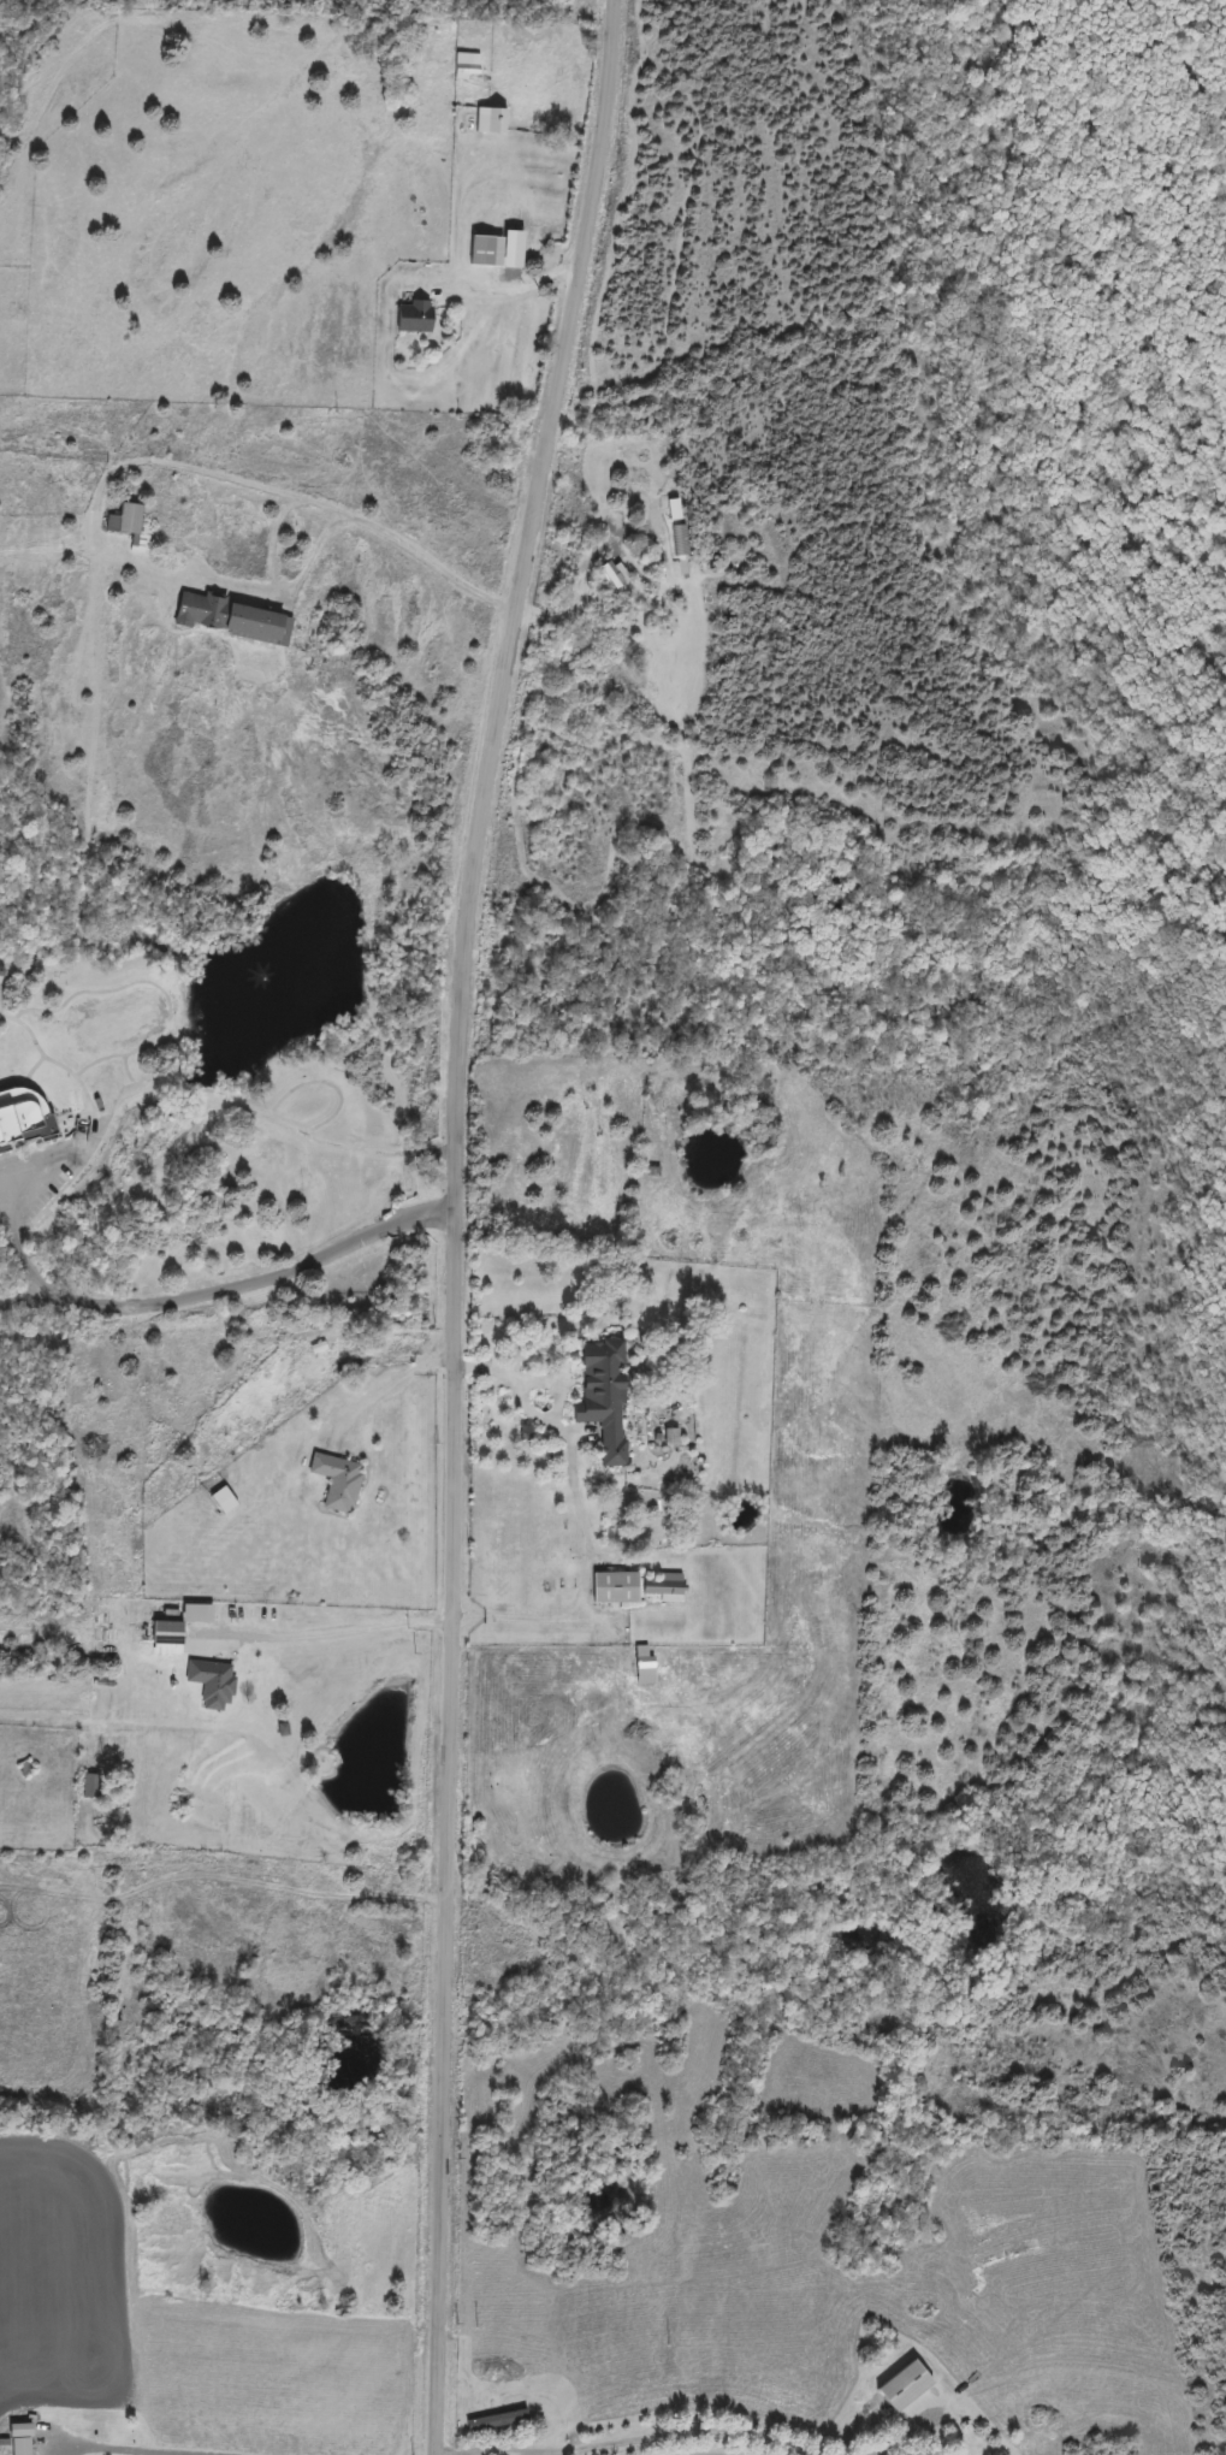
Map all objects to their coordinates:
building: (462, 69)
building: (492, 122)
building: (487, 252)
road: (456, 276)
building: (416, 318)
road: (195, 466)
building: (130, 527)
building: (681, 542)
building: (617, 575)
road: (582, 578)
building: (233, 621)
road: (160, 1085)
building: (23, 1118)
road: (4, 1195)
road: (461, 1220)
road: (237, 1286)
road: (389, 1383)
road: (555, 1385)
building: (605, 1398)
building: (339, 1483)
building: (225, 1502)
road: (586, 1566)
building: (665, 1587)
building: (616, 1589)
road: (336, 1623)
building: (167, 1634)
building: (646, 1669)
building: (213, 1684)
building: (93, 1787)
building: (904, 2388)
building: (497, 2421)
road: (626, 2438)
building: (23, 2447)
road: (149, 2449)

